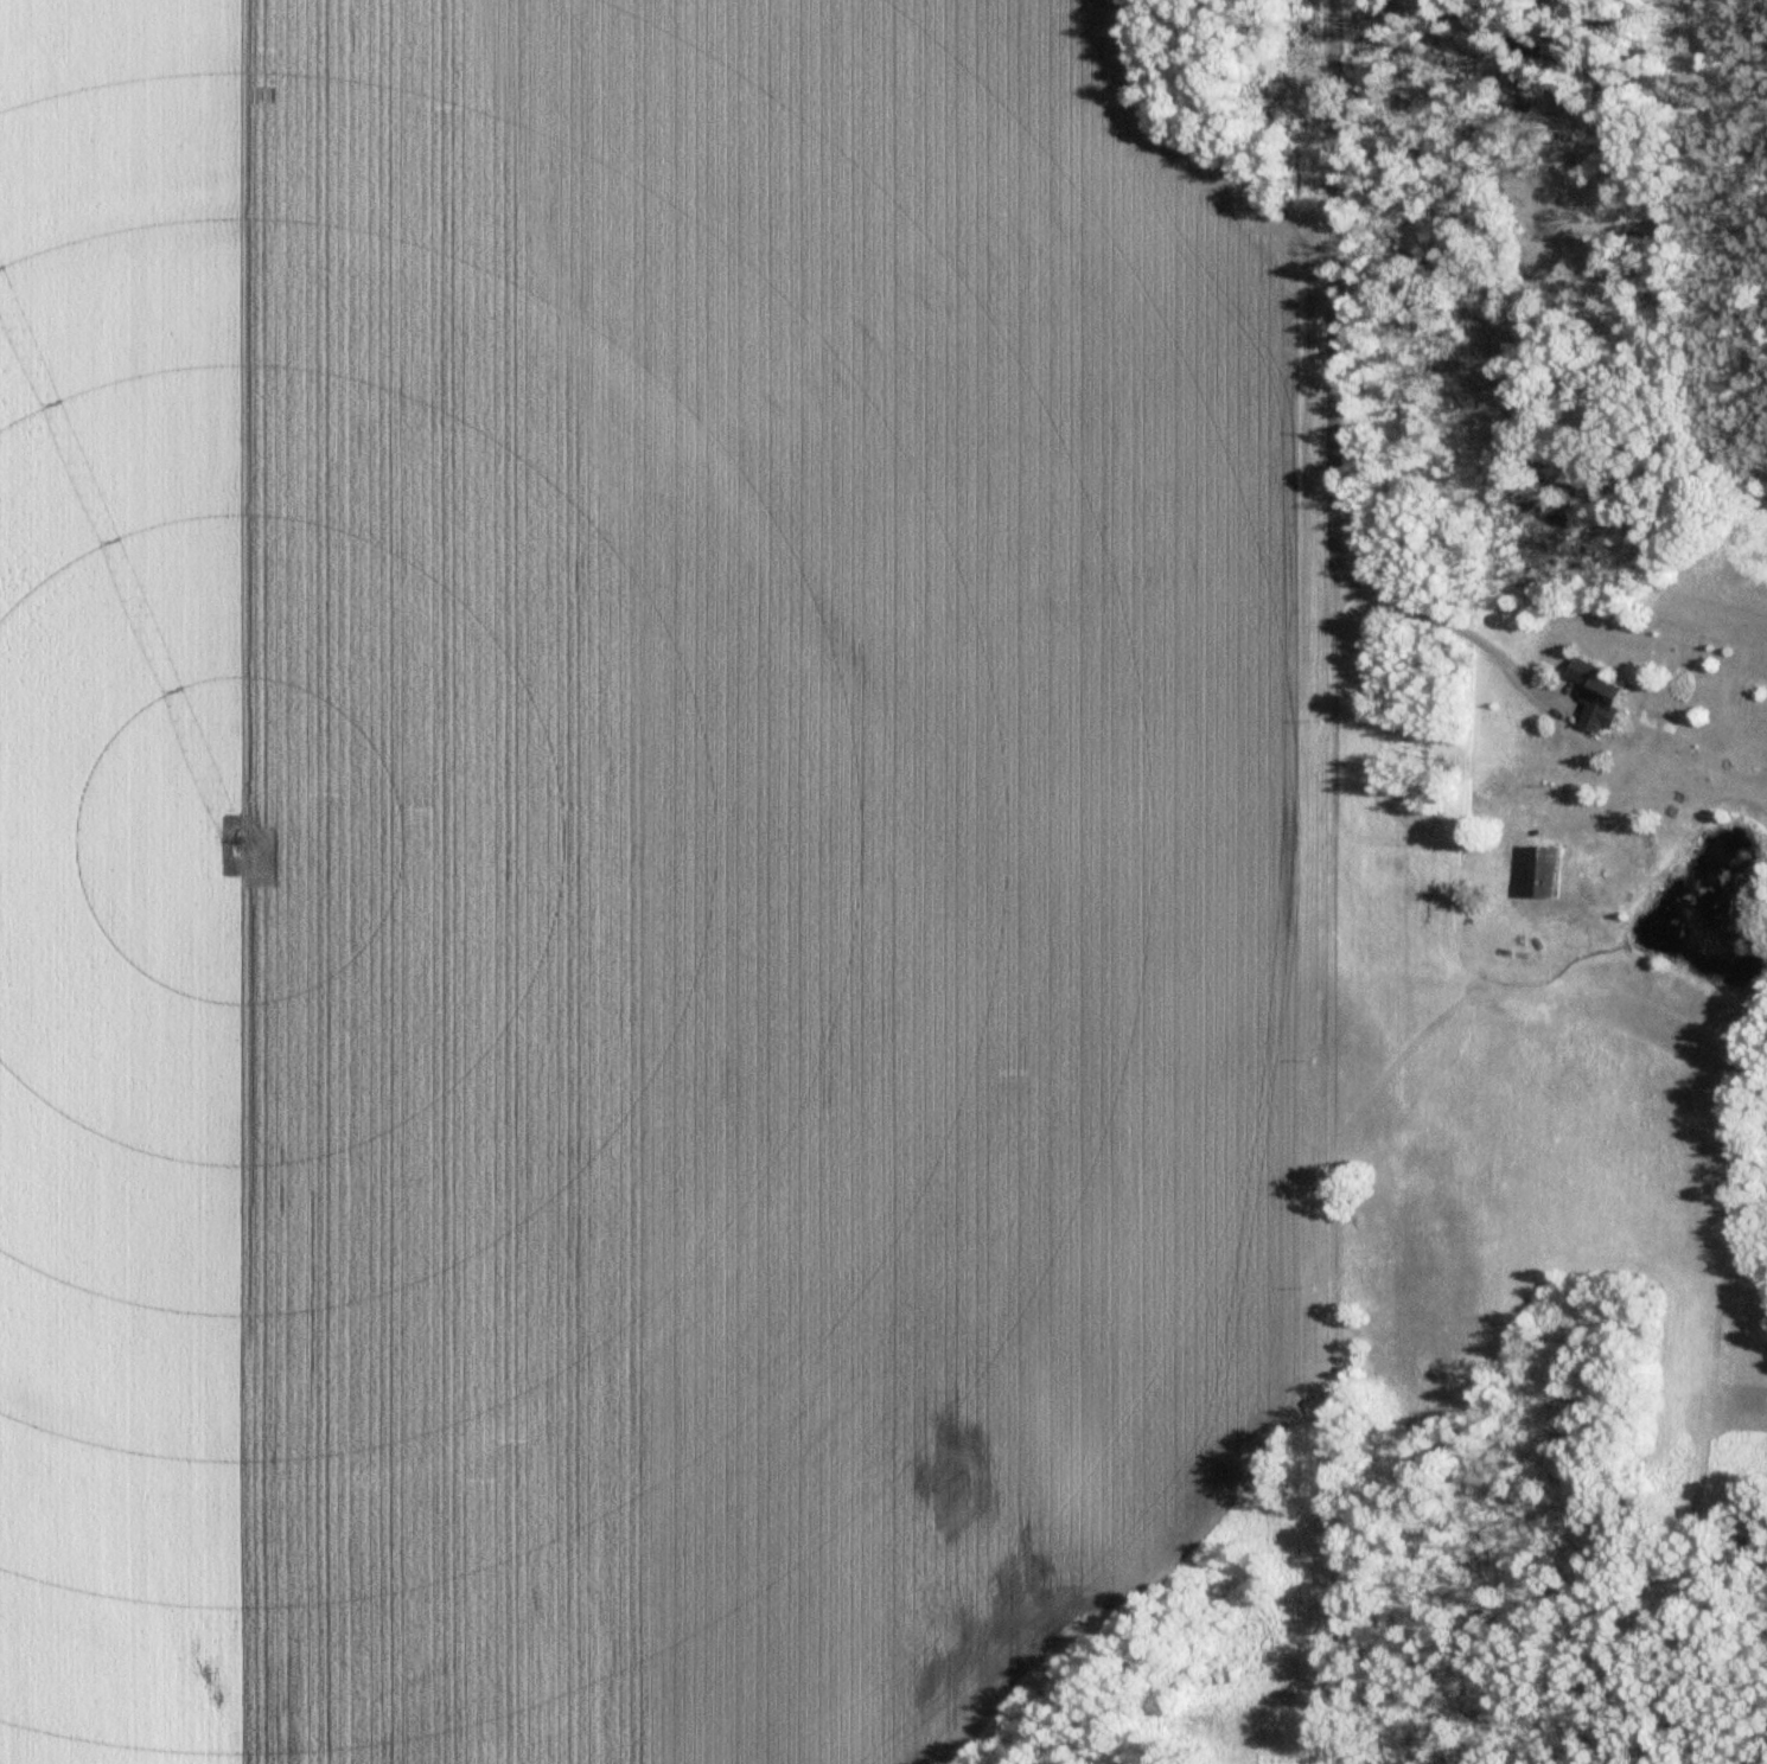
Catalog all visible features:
road: (1449, 628)
building: (1590, 696)
building: (1538, 873)
road: (1308, 881)

